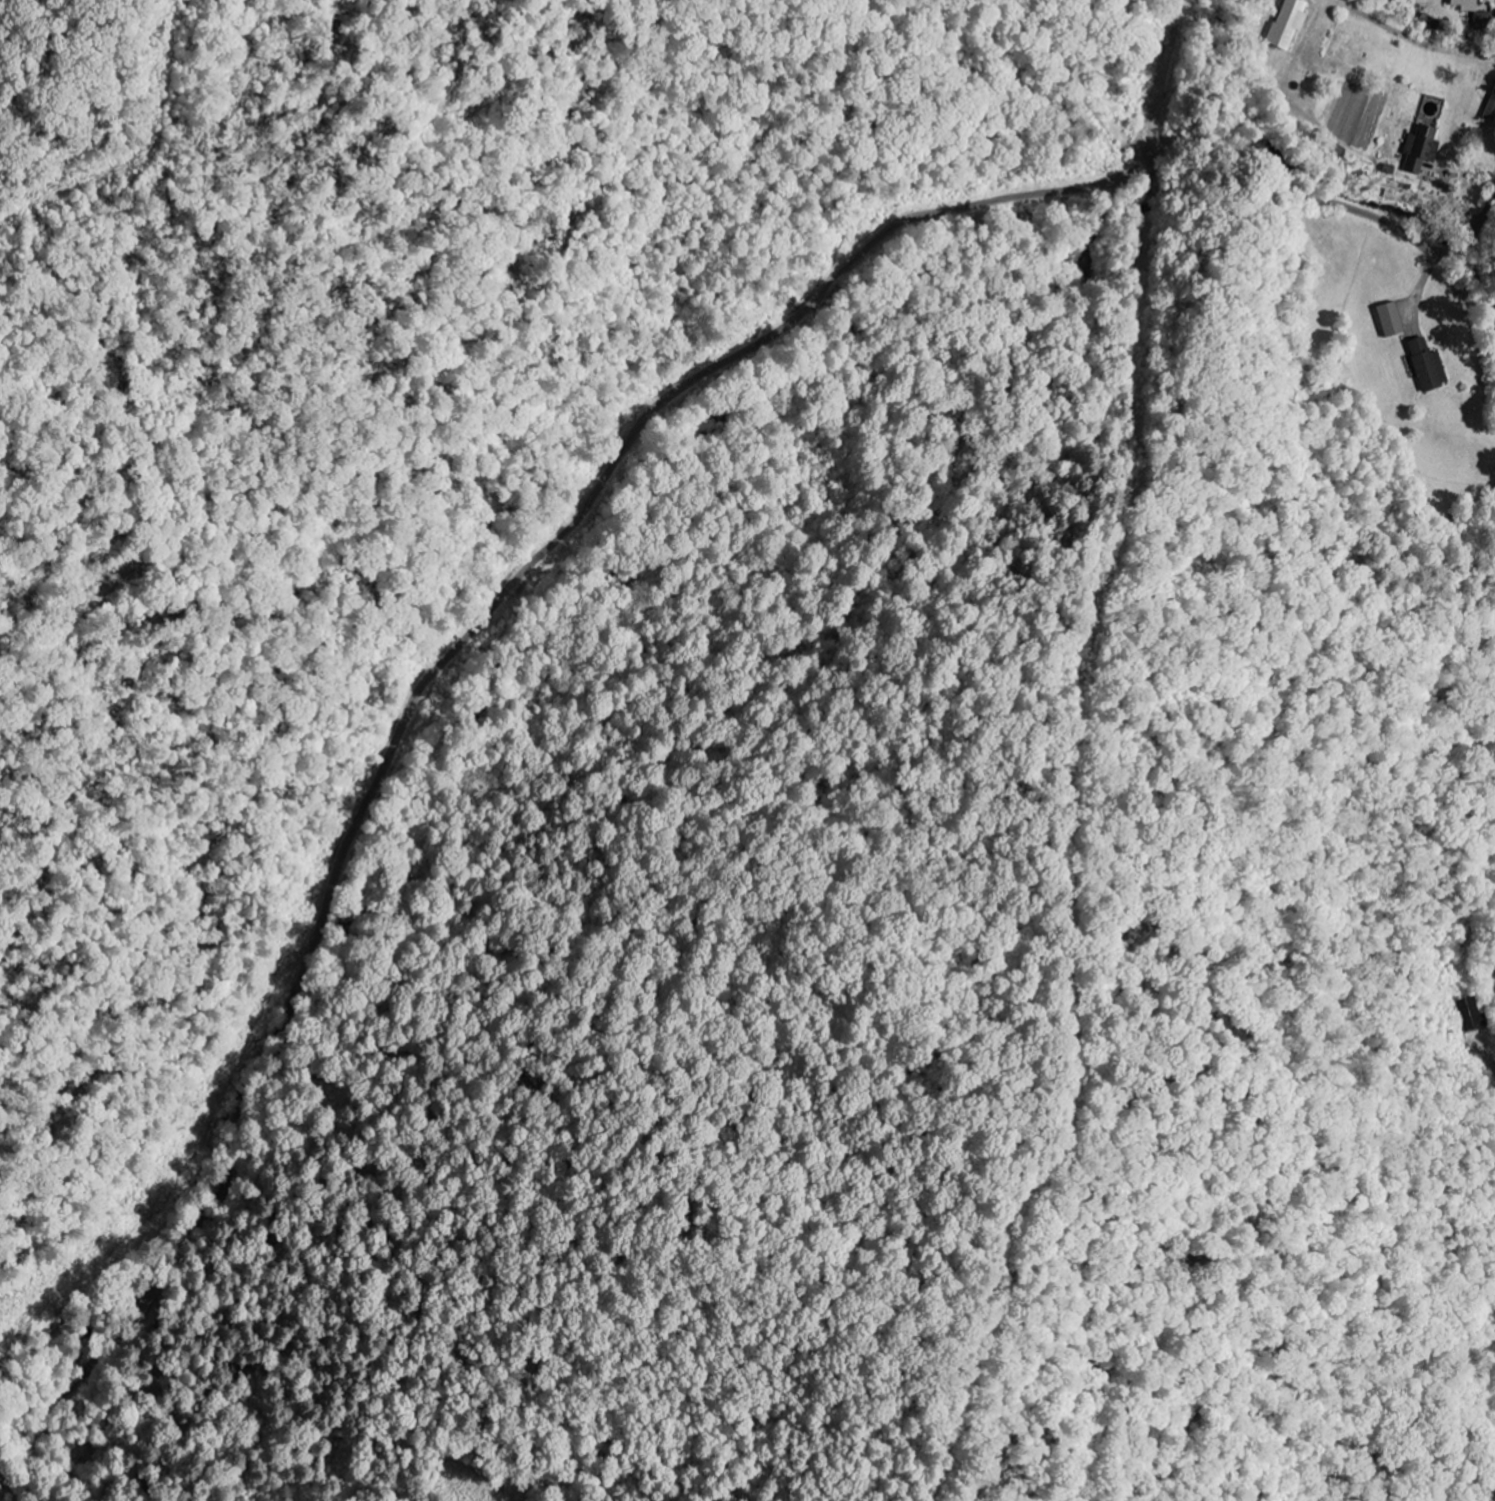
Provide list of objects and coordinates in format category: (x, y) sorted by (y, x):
building: (1468, 5)
building: (1290, 23)
building: (1492, 111)
building: (1423, 148)
road: (1313, 195)
building: (1393, 321)
building: (1430, 366)
road: (418, 694)
building: (1471, 1015)
road: (1494, 1065)

